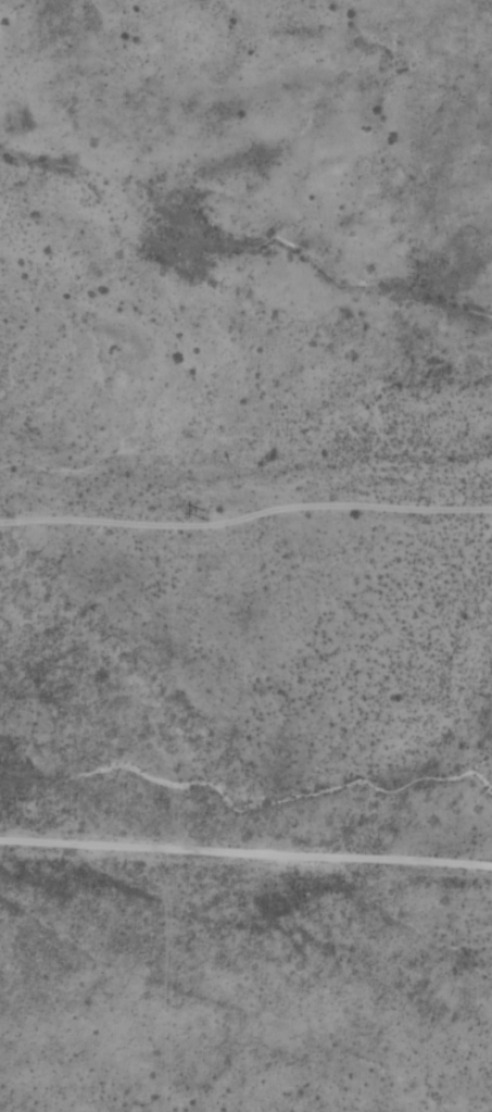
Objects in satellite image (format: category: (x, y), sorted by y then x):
road: (245, 851)

